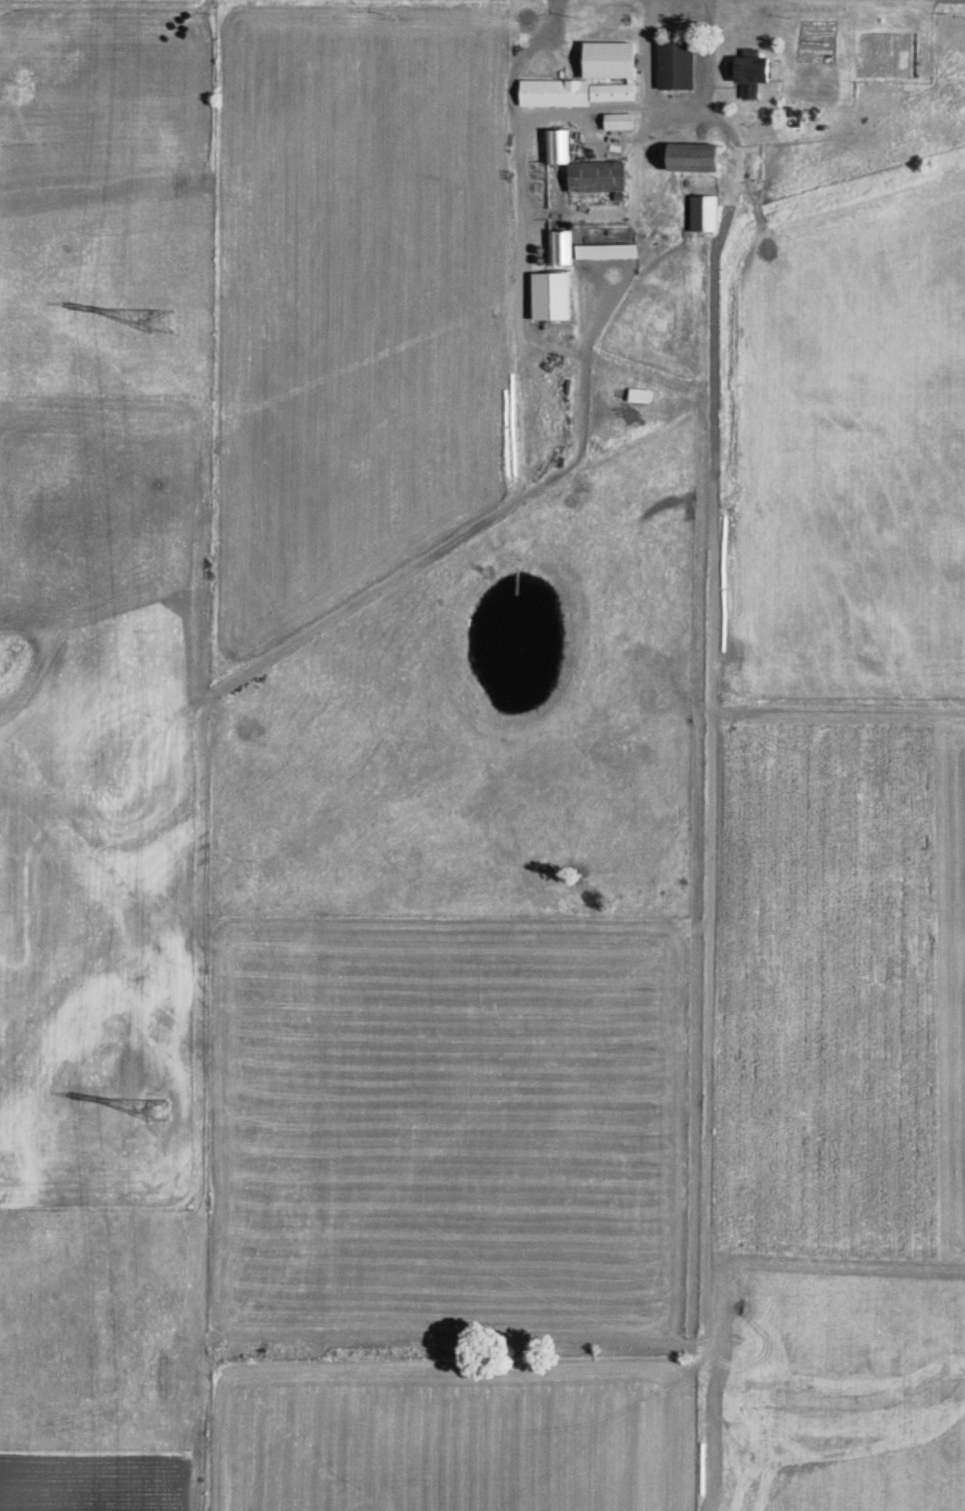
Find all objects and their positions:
building: (681, 68)
building: (588, 78)
building: (761, 78)
road: (632, 105)
road: (516, 154)
building: (681, 169)
building: (604, 188)
building: (710, 217)
building: (605, 255)
building: (562, 297)
power tower: (166, 326)
power tower: (165, 1113)

